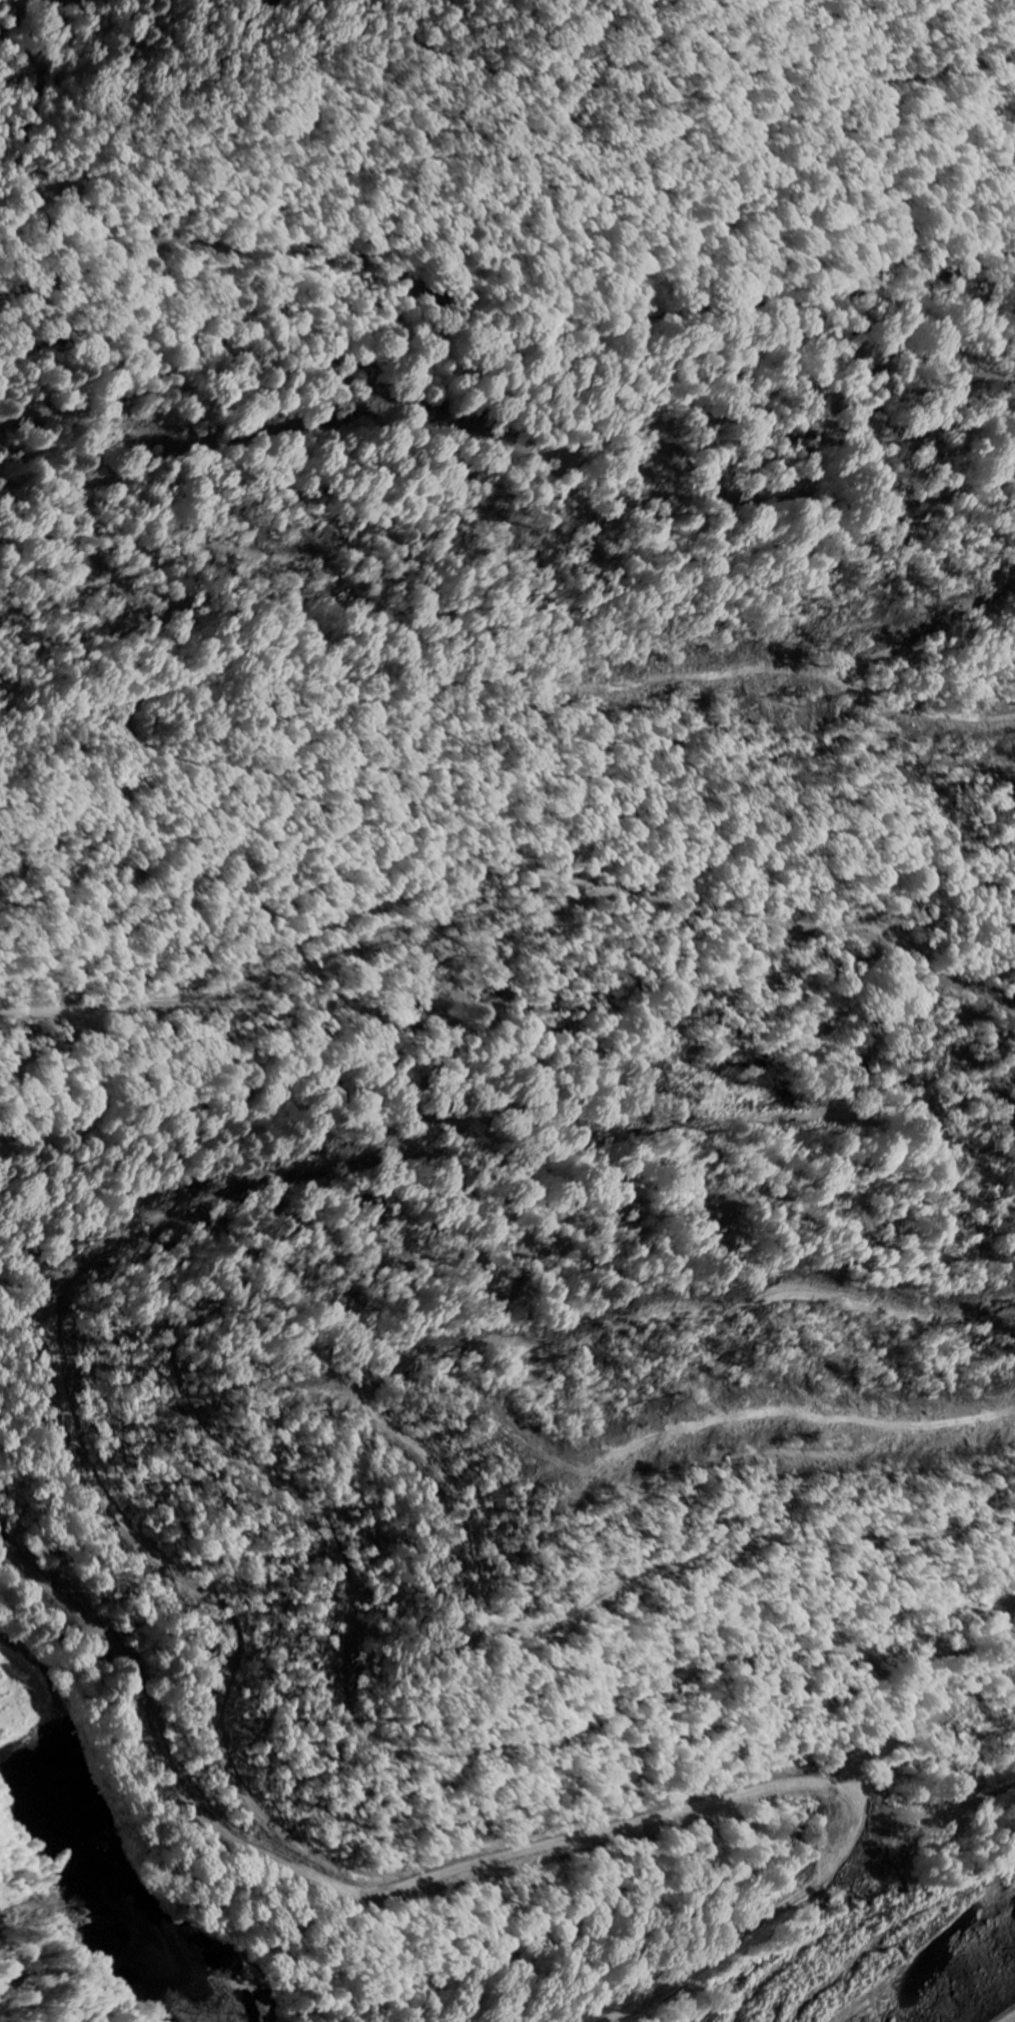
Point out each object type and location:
quarry: (852, 1916)

